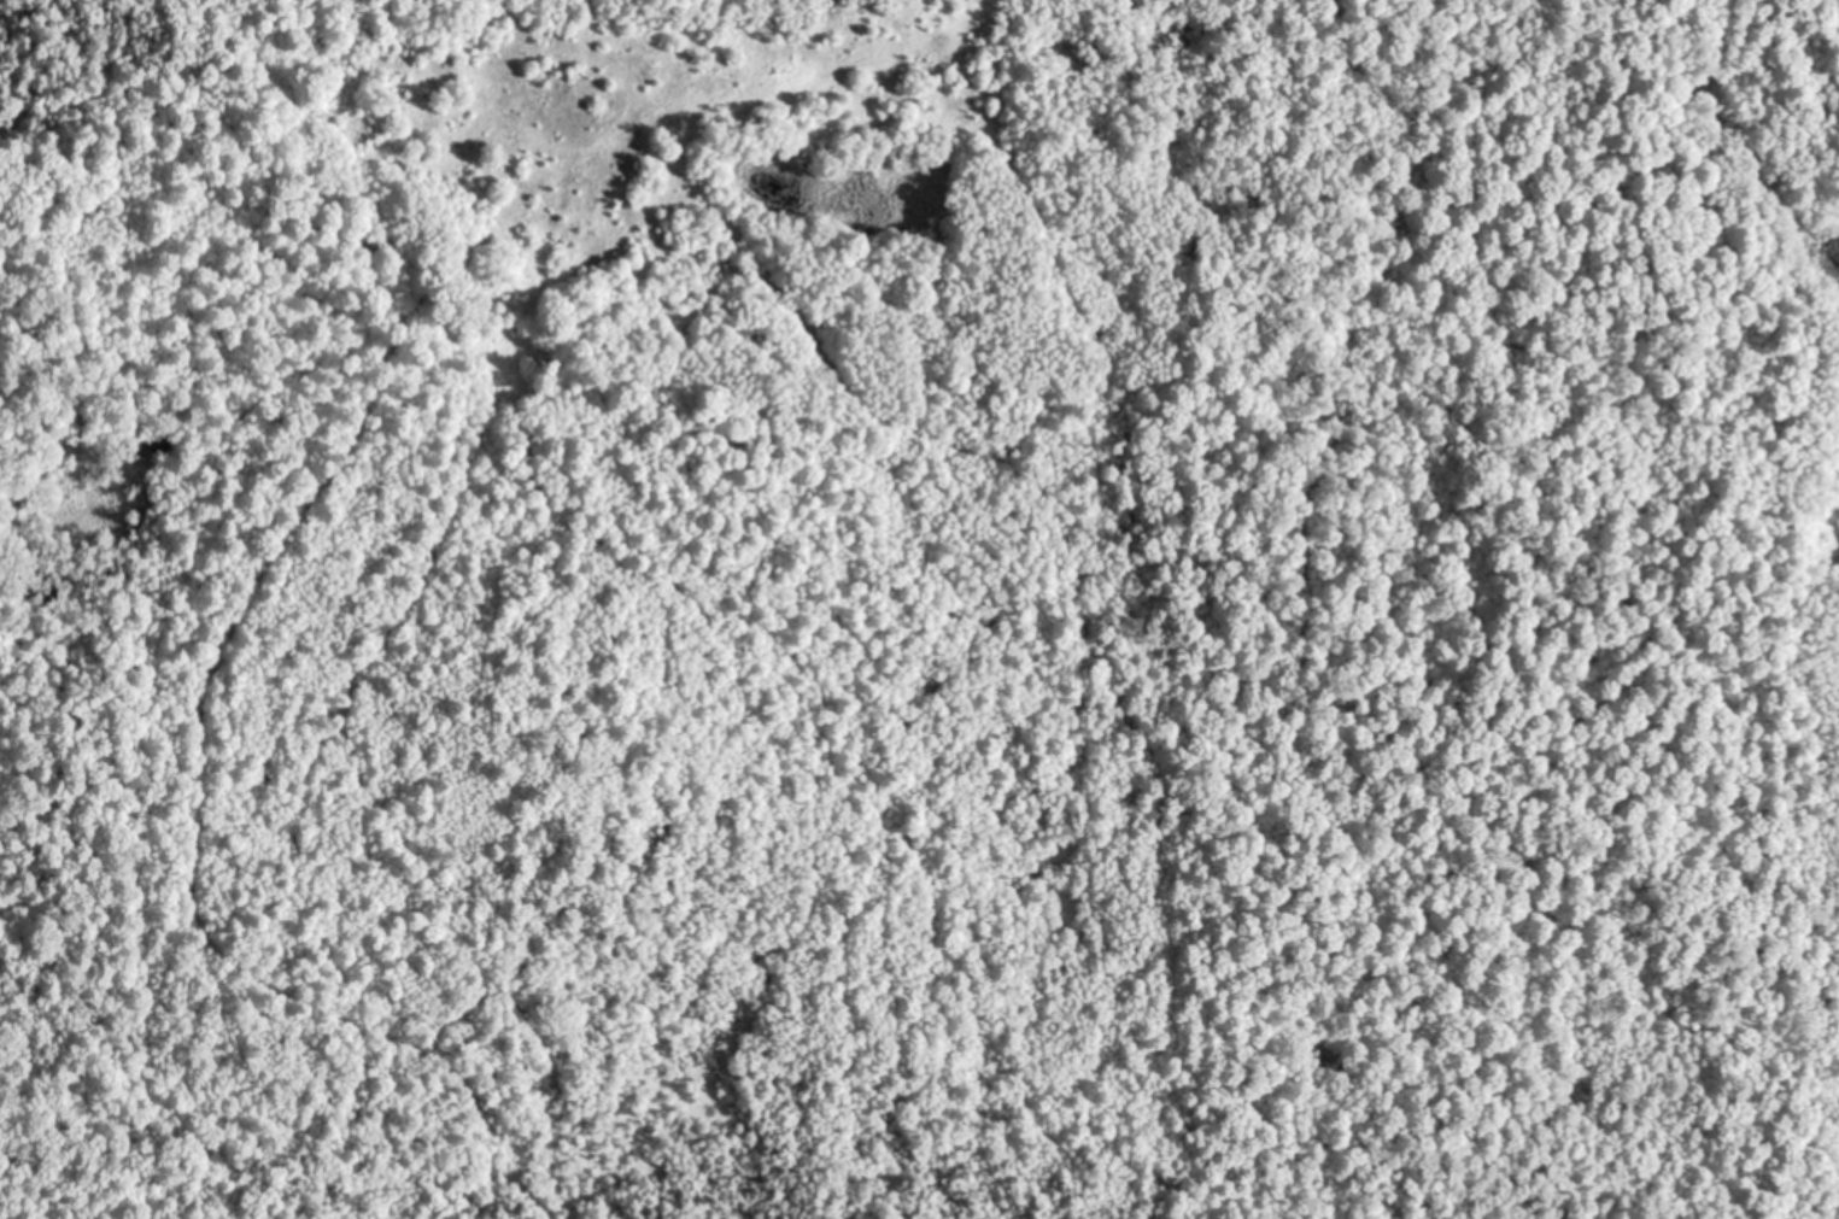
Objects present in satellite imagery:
quarry: (1810, 619)

